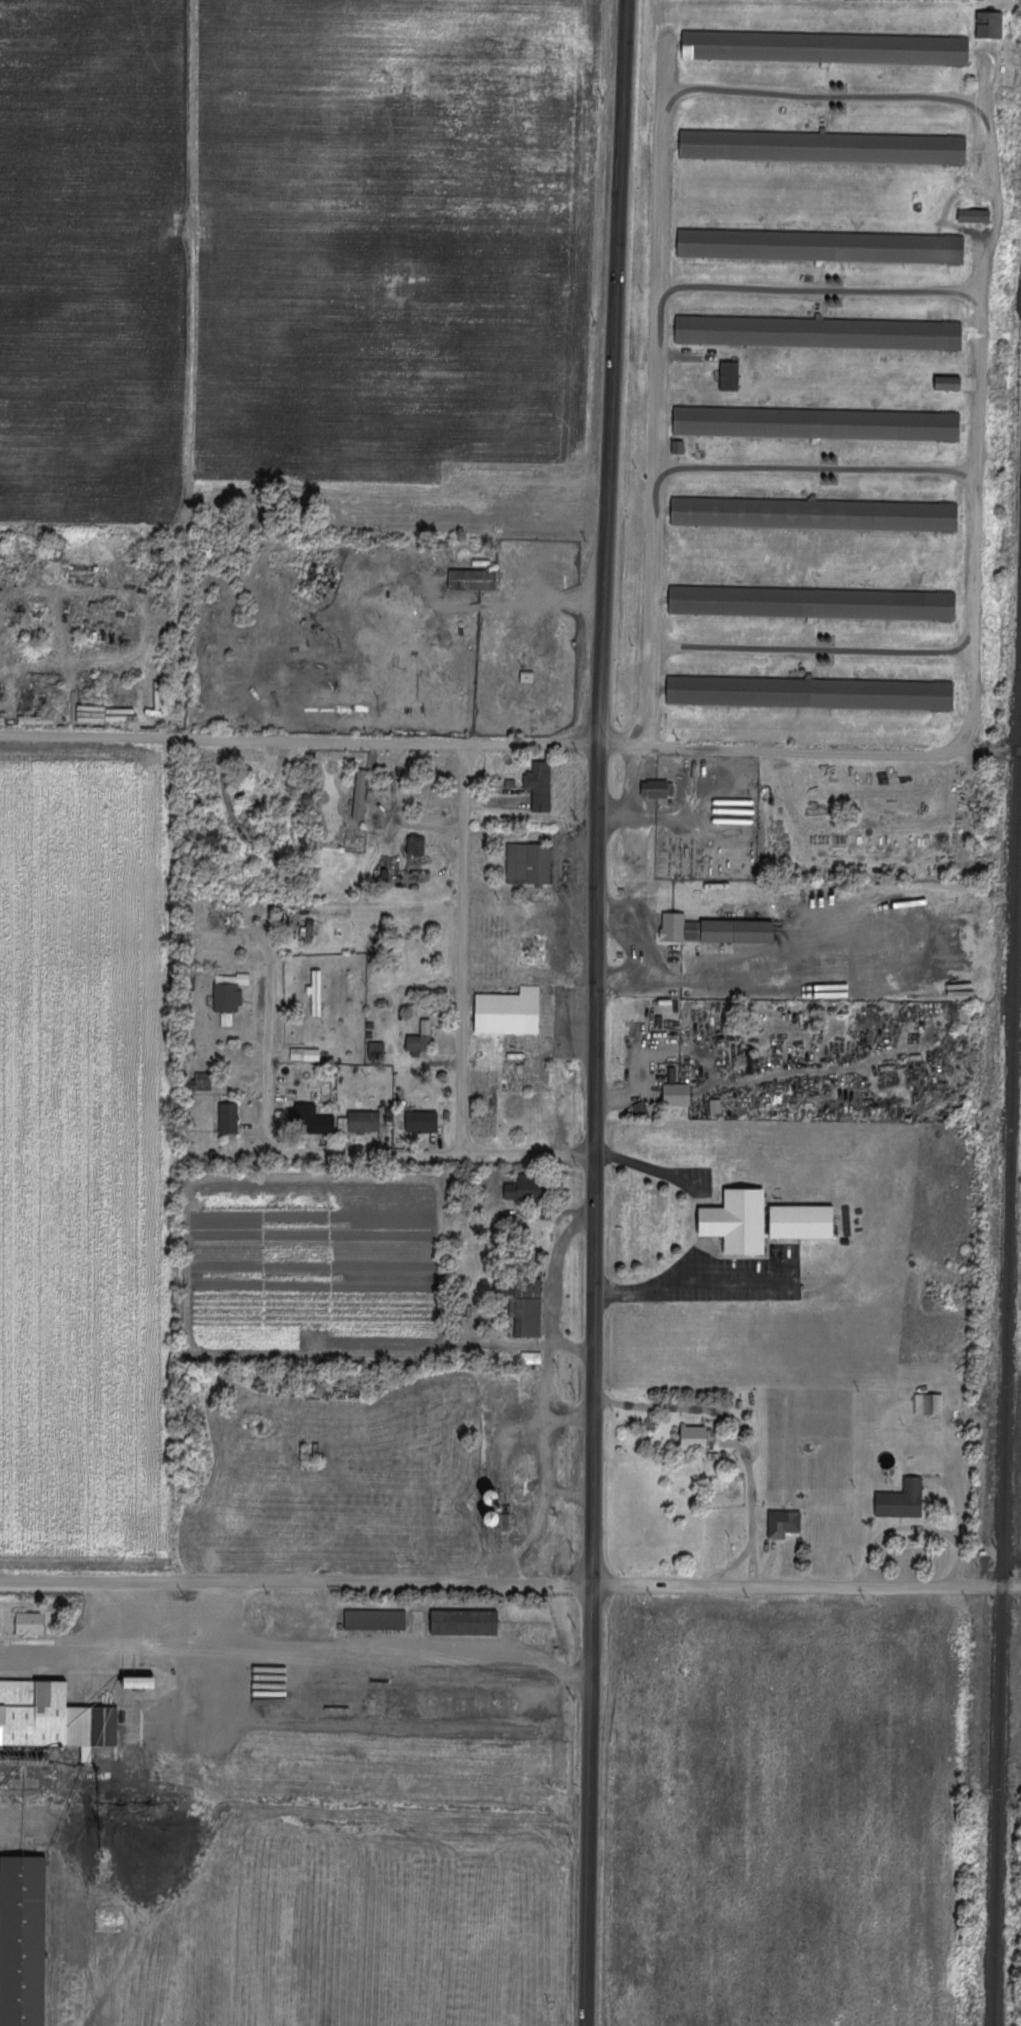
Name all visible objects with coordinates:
building: (992, 20)
building: (827, 46)
building: (1003, 64)
building: (825, 145)
building: (977, 214)
building: (821, 244)
building: (821, 330)
building: (731, 374)
building: (952, 382)
road: (656, 387)
building: (819, 421)
building: (681, 445)
building: (816, 512)
building: (475, 578)
road: (579, 598)
building: (813, 601)
building: (811, 691)
road: (299, 739)
road: (809, 748)
building: (540, 786)
building: (657, 787)
building: (360, 795)
road: (648, 812)
road: (531, 835)
building: (211, 837)
building: (416, 846)
building: (529, 864)
building: (715, 931)
road: (465, 948)
road: (634, 980)
building: (229, 996)
road: (598, 1012)
building: (509, 1013)
building: (426, 1027)
building: (415, 1046)
building: (377, 1051)
building: (305, 1055)
building: (200, 1083)
road: (643, 1089)
building: (677, 1095)
building: (716, 1107)
building: (641, 1110)
building: (229, 1119)
building: (310, 1121)
building: (364, 1123)
building: (422, 1123)
road: (323, 1156)
building: (524, 1188)
building: (739, 1221)
building: (803, 1221)
building: (529, 1307)
building: (531, 1358)
railway: (1008, 1363)
building: (930, 1404)
road: (741, 1428)
building: (695, 1437)
building: (902, 1500)
road: (963, 1521)
building: (784, 1523)
road: (296, 1581)
road: (806, 1586)
building: (376, 1620)
building: (465, 1622)
building: (30, 1624)
road: (95, 1650)
road: (376, 1655)
building: (142, 1682)
building: (52, 1717)
building: (23, 1940)

